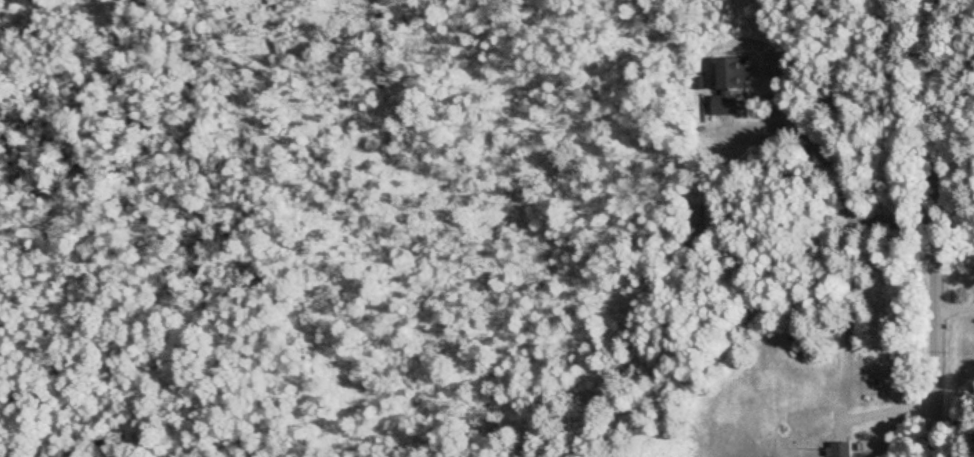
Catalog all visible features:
road: (835, 169)
road: (932, 228)
road: (954, 305)
building: (840, 450)

